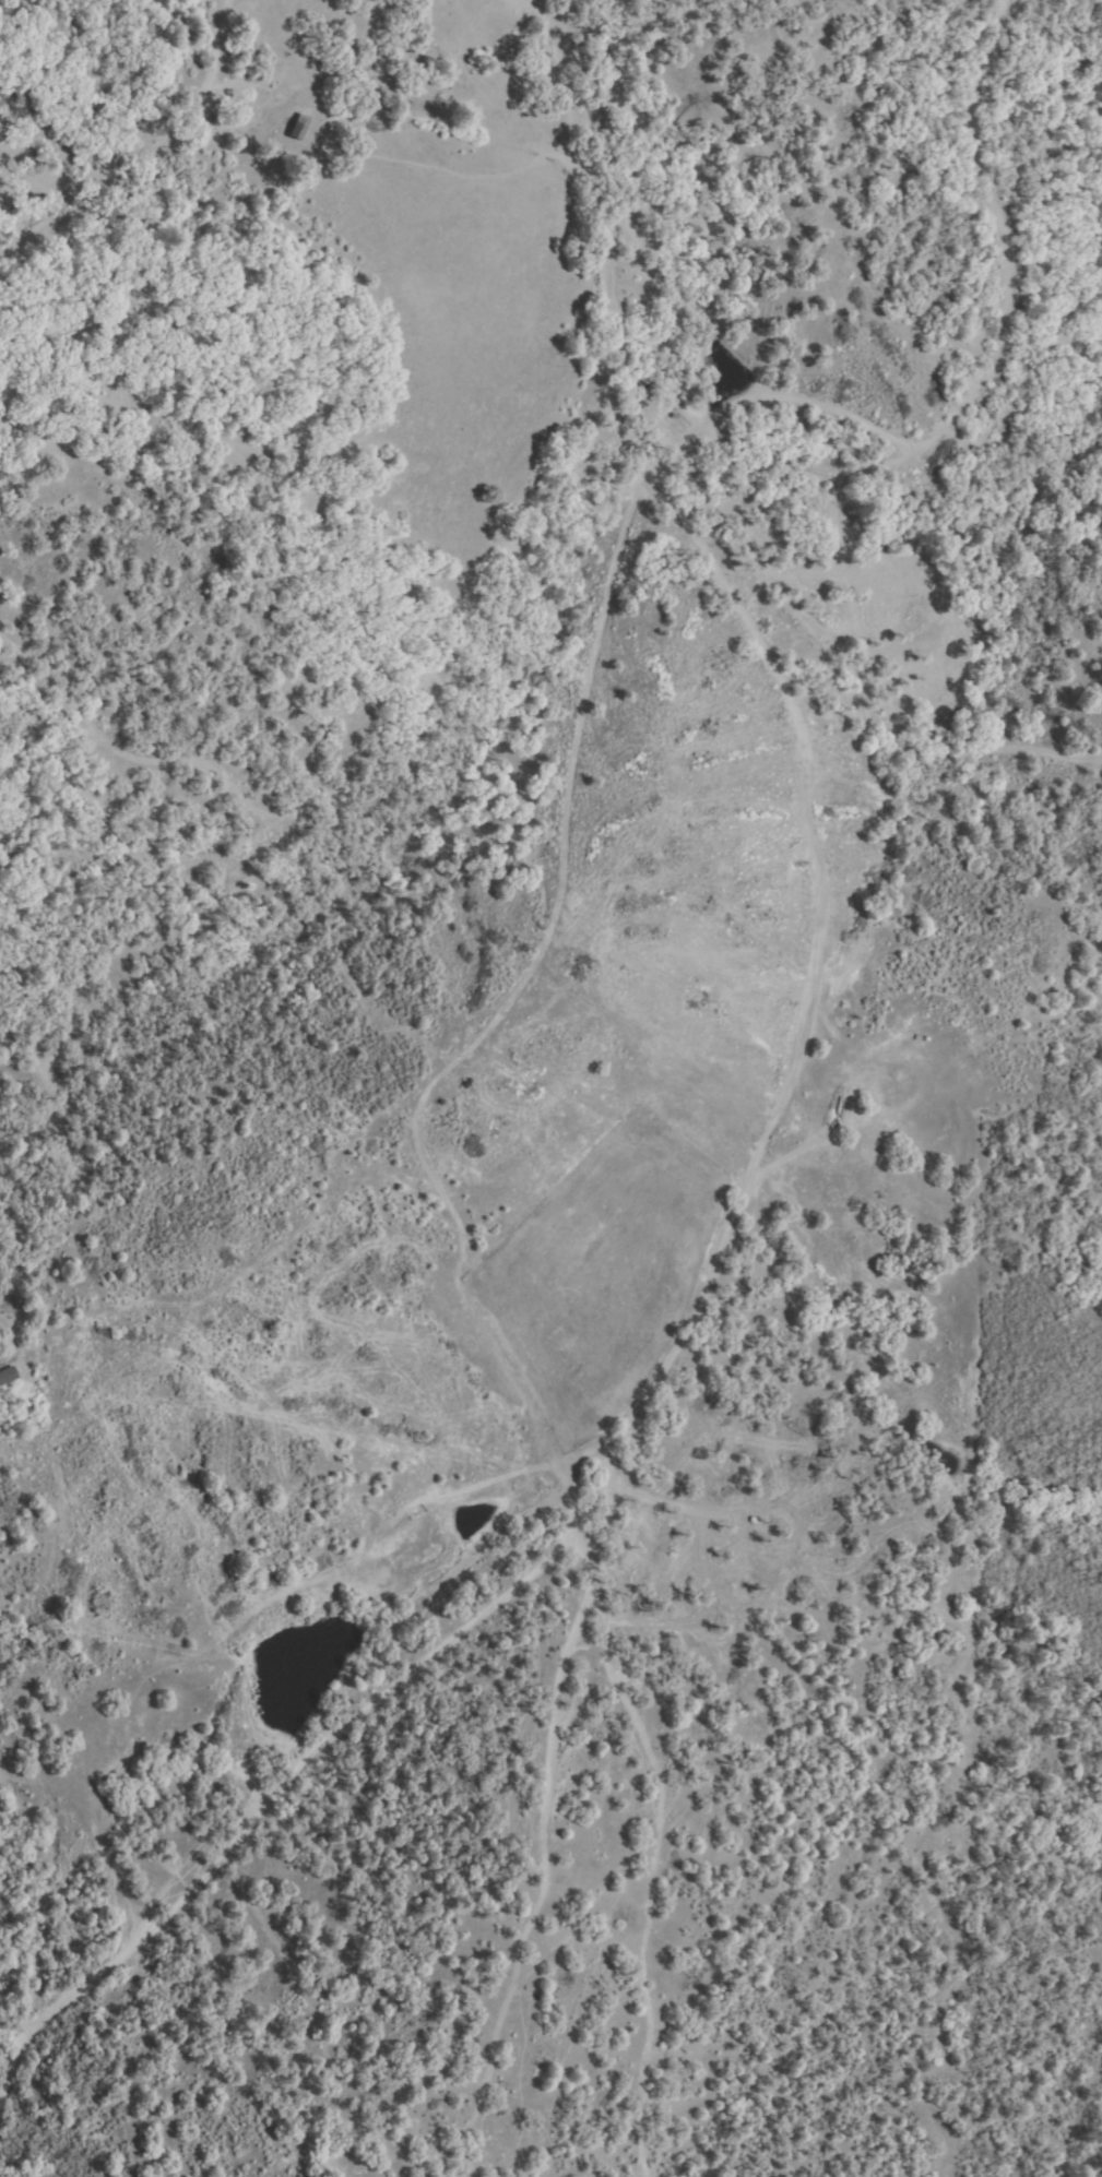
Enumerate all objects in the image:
building: (299, 128)
road: (654, 1369)
building: (7, 1376)

